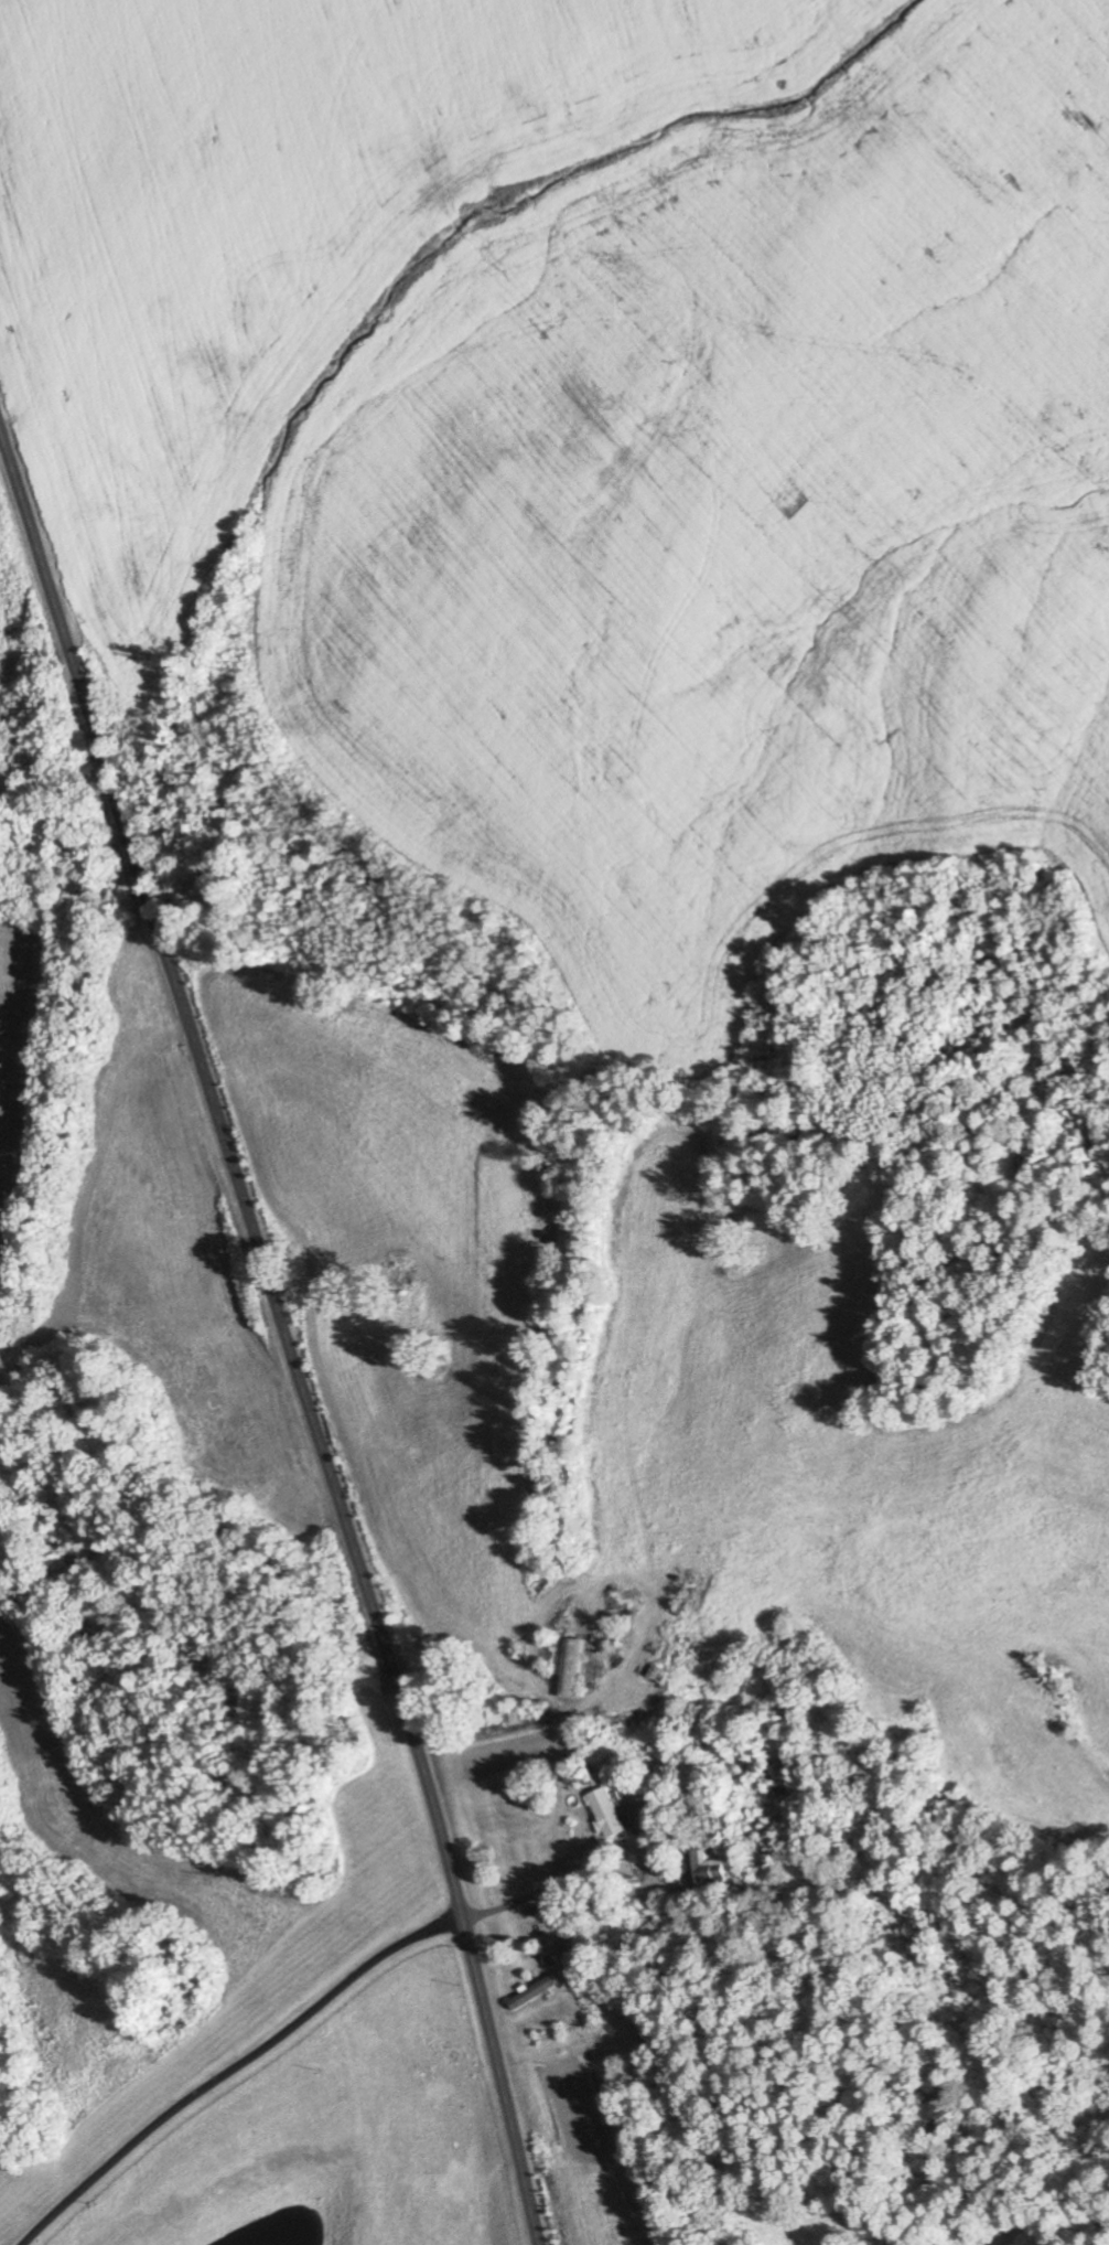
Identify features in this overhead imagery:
road: (237, 43)
road: (287, 1329)
building: (575, 1669)
building: (609, 1814)
building: (709, 1869)
building: (537, 1993)

